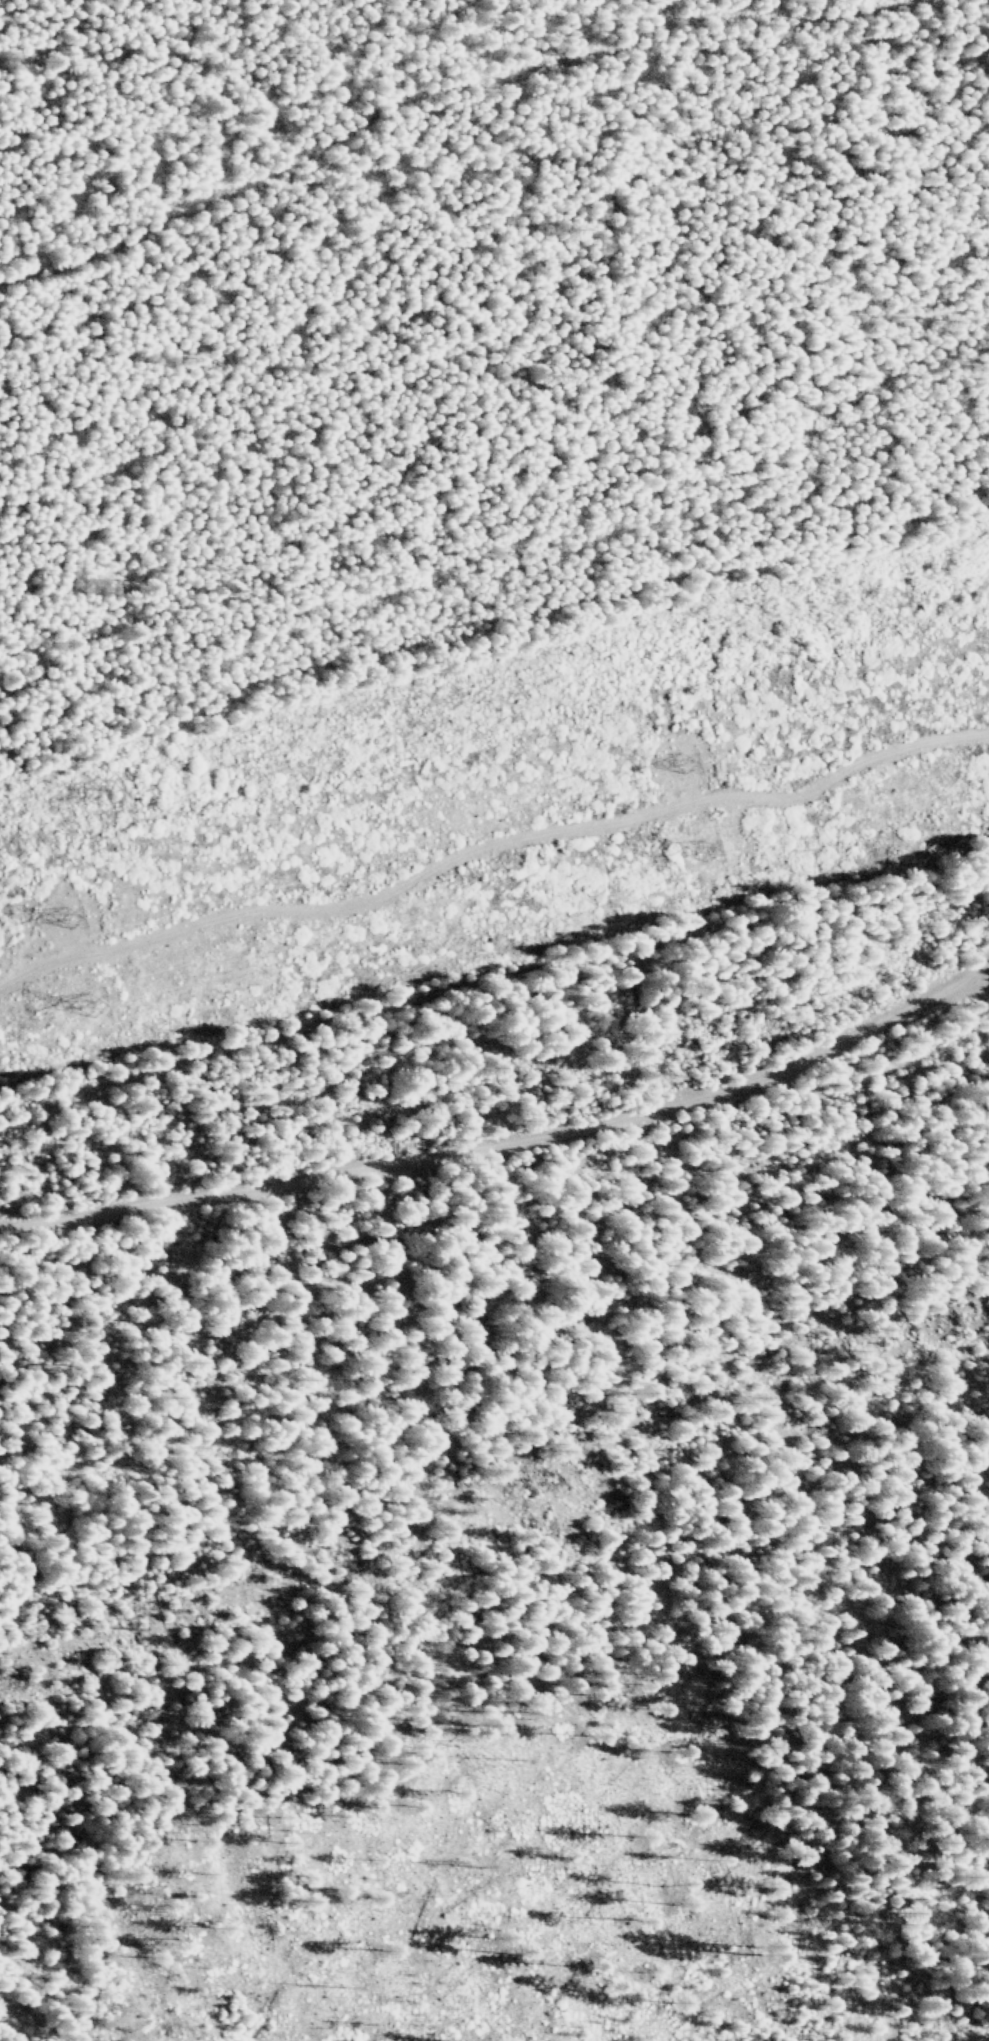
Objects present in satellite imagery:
power tower: (897, 590)
power tower: (686, 760)
power tower: (123, 785)
power tower: (705, 856)
power tower: (77, 907)
power tower: (99, 1003)

